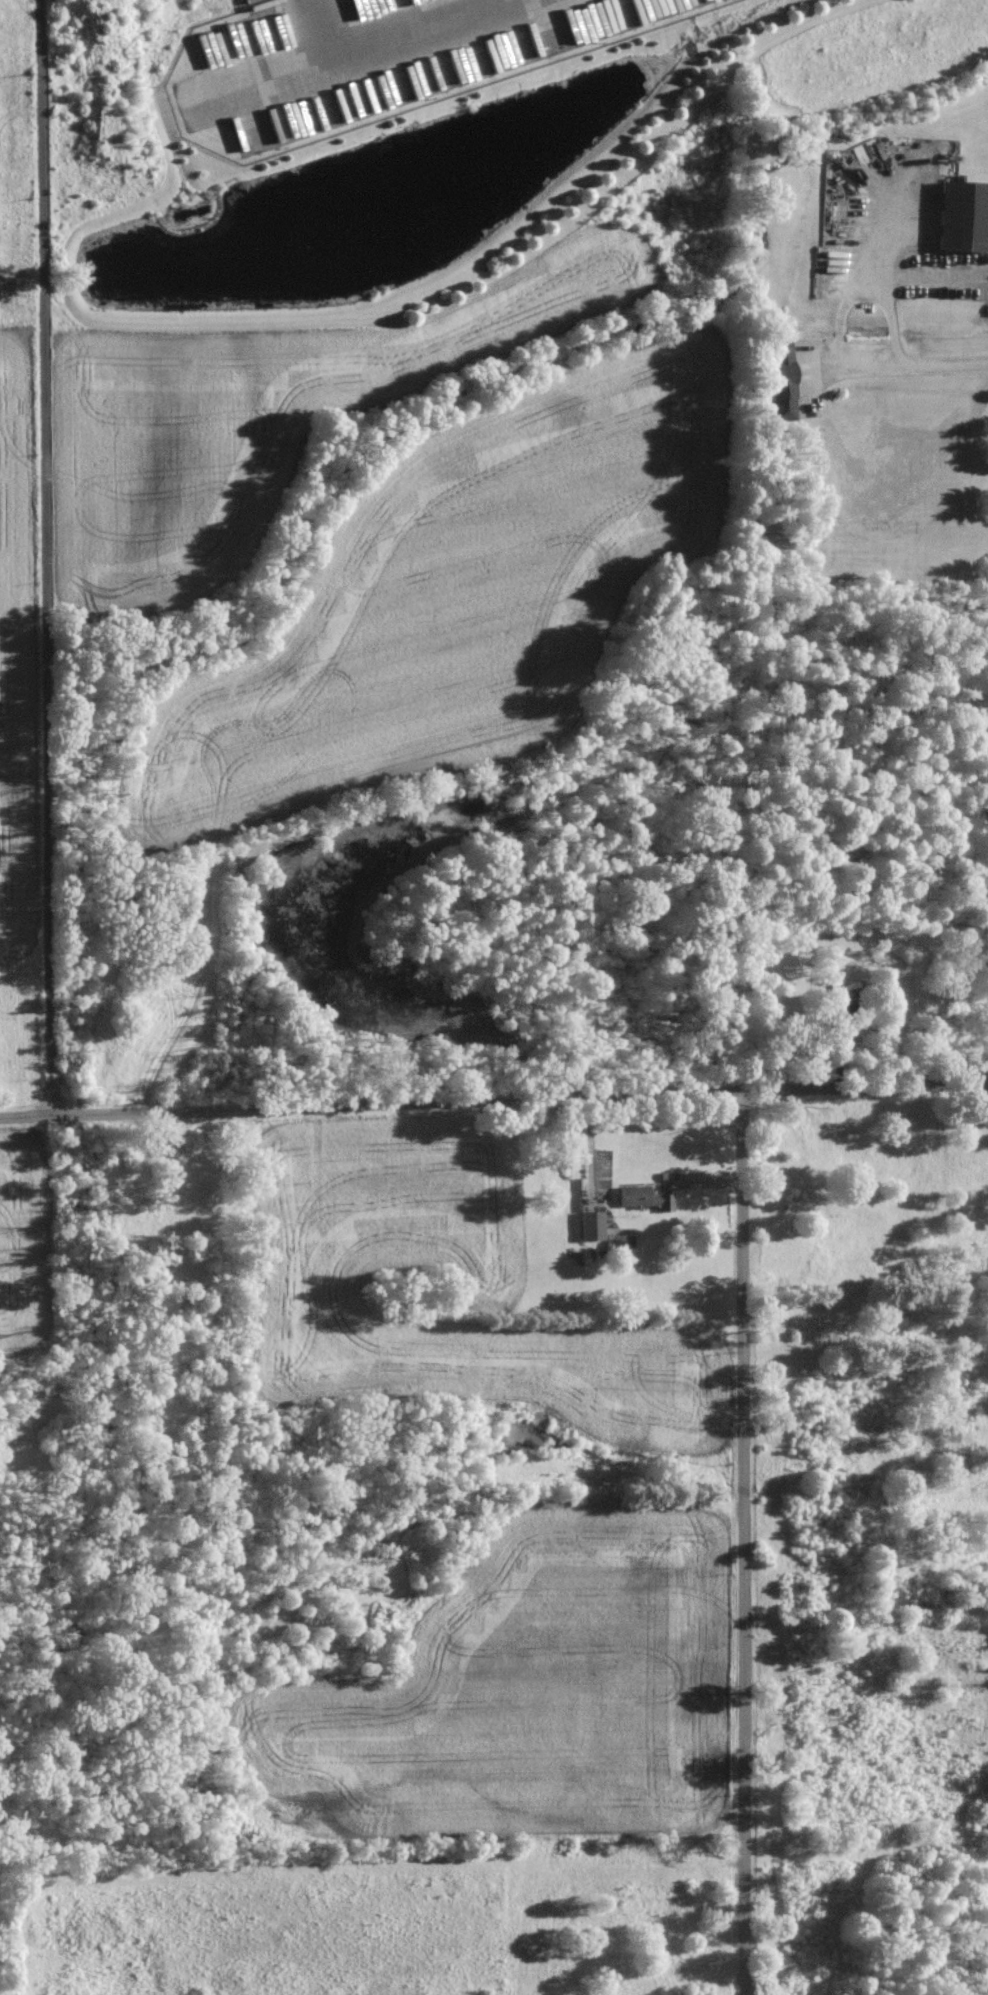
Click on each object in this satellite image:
road: (324, 20)
road: (419, 29)
parking lot: (378, 55)
building: (963, 216)
road: (892, 322)
road: (840, 334)
building: (783, 380)
road: (46, 556)
building: (844, 1004)
building: (922, 1085)
road: (863, 1087)
road: (369, 1103)
building: (645, 1198)
building: (592, 1225)
road: (740, 1543)

